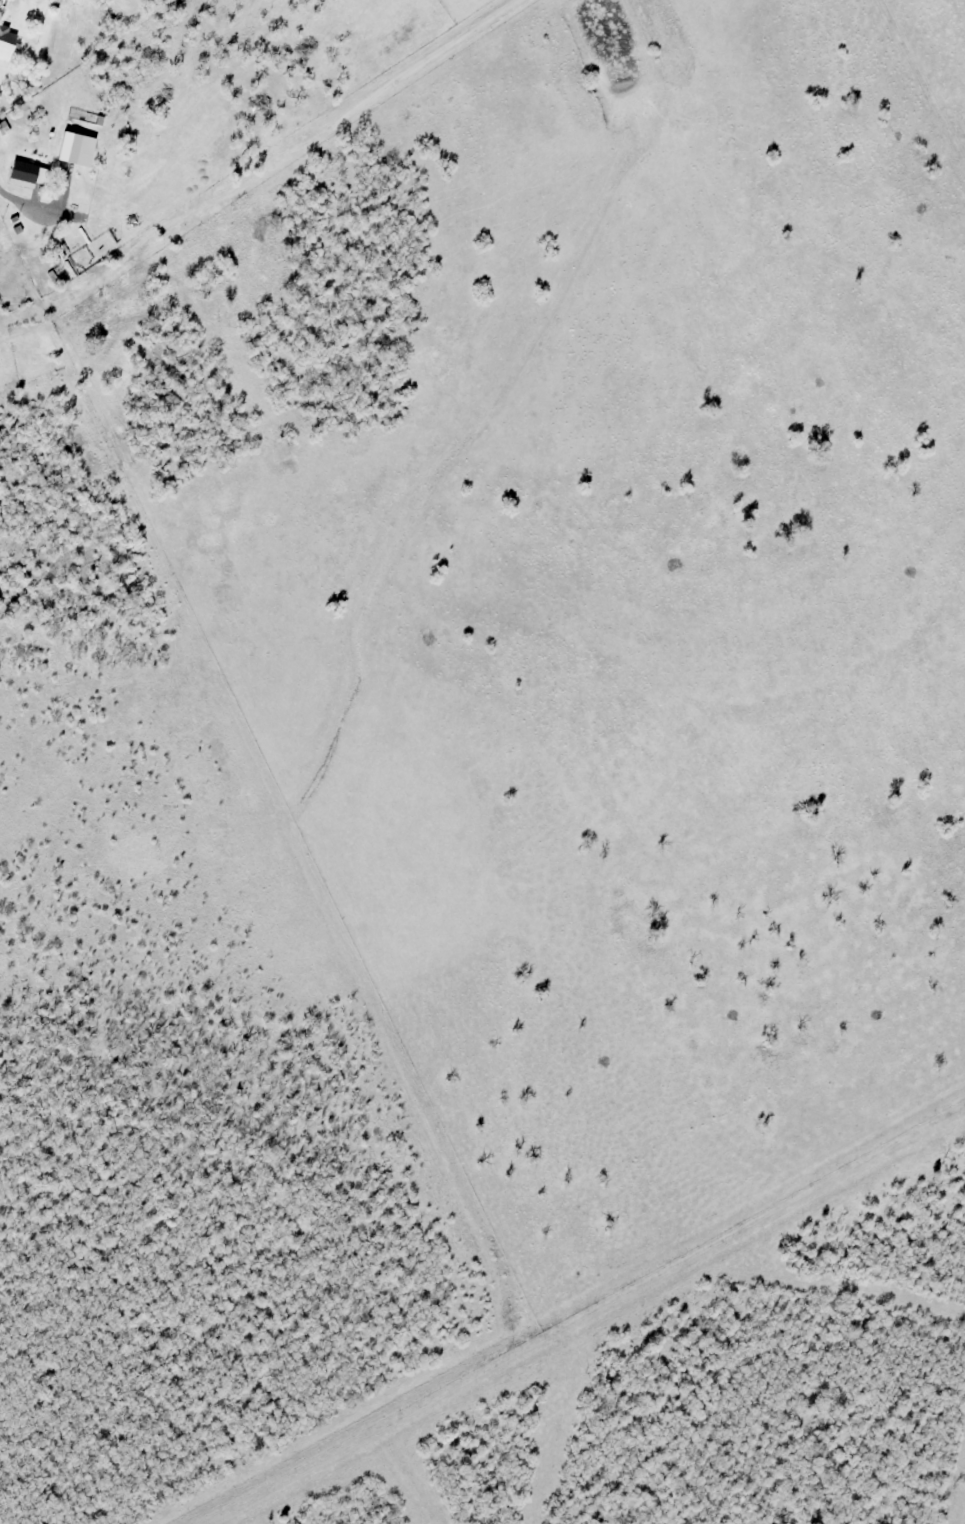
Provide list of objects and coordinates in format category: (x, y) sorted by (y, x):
building: (6, 41)
building: (124, 170)
building: (23, 171)
building: (75, 188)
building: (27, 199)
building: (117, 204)
building: (75, 214)
building: (94, 220)
building: (15, 225)

